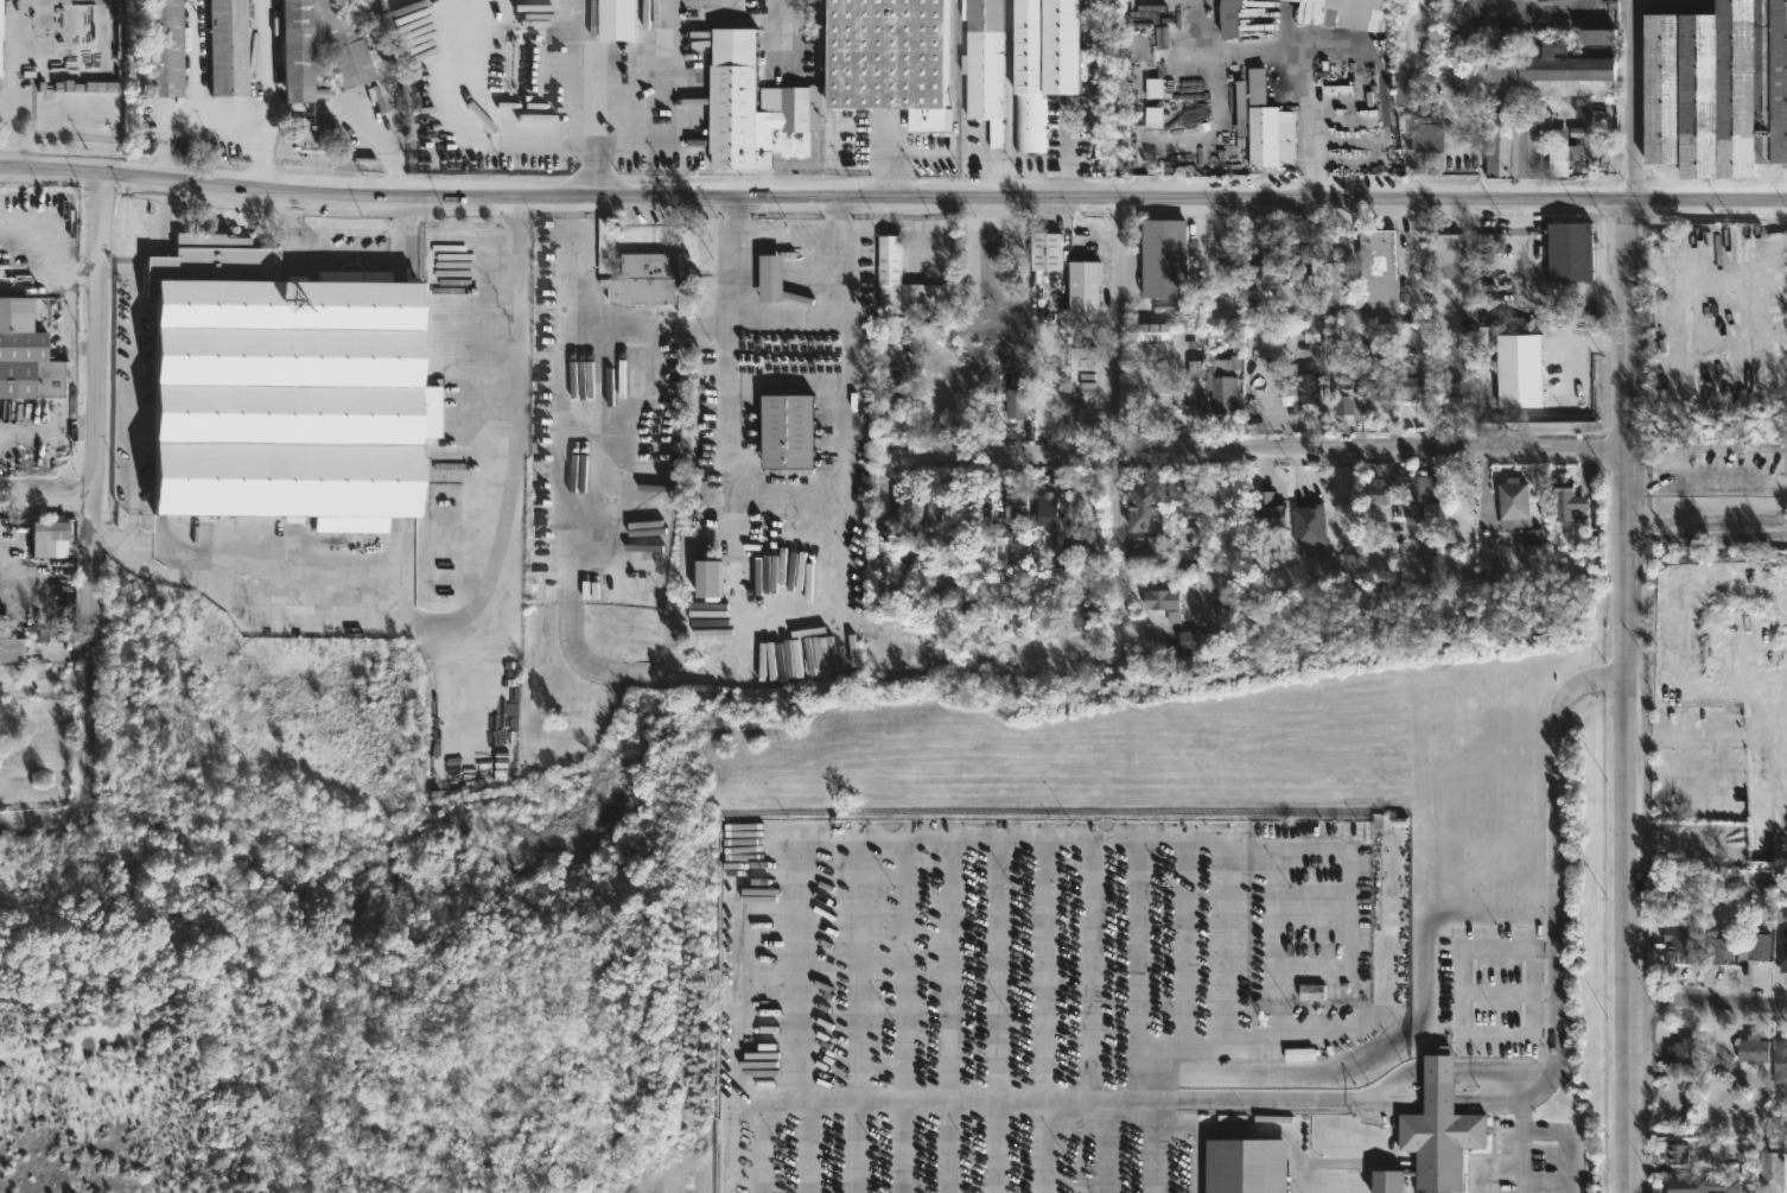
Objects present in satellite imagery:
road: (732, 7)
building: (1341, 13)
building: (1226, 18)
building: (2, 40)
building: (166, 47)
building: (233, 47)
building: (325, 47)
building: (885, 58)
road: (193, 61)
road: (268, 62)
building: (1038, 62)
building: (981, 63)
building: (1552, 66)
building: (529, 68)
road: (12, 84)
building: (1254, 85)
building: (1405, 85)
road: (597, 87)
building: (1716, 88)
building: (1147, 102)
building: (1201, 104)
building: (756, 107)
building: (1239, 107)
road: (361, 118)
road: (218, 122)
building: (310, 133)
building: (1426, 133)
building: (1268, 135)
road: (1071, 150)
building: (1512, 152)
building: (1608, 156)
building: (1556, 159)
road: (892, 196)
building: (608, 248)
building: (1042, 250)
building: (1569, 252)
building: (1446, 255)
building: (1160, 258)
building: (1304, 260)
building: (1264, 265)
building: (783, 277)
building: (650, 278)
building: (1365, 278)
building: (895, 281)
building: (1080, 286)
road: (845, 290)
road: (1530, 291)
railway: (412, 306)
building: (1150, 331)
road: (514, 340)
road: (729, 348)
building: (26, 351)
building: (1080, 358)
building: (1514, 372)
building: (1416, 386)
building: (1308, 387)
building: (1374, 387)
building: (1219, 388)
building: (287, 389)
building: (1182, 399)
building: (1344, 399)
building: (1454, 399)
building: (1013, 402)
building: (892, 411)
road: (1123, 427)
building: (788, 431)
road: (1336, 453)
road: (730, 480)
road: (1707, 484)
road: (97, 489)
building: (1376, 493)
building: (1560, 494)
building: (1418, 495)
road: (49, 501)
building: (1512, 503)
building: (1179, 505)
building: (1013, 506)
building: (1140, 507)
building: (896, 510)
building: (1266, 512)
building: (1044, 513)
building: (980, 518)
building: (934, 520)
building: (1306, 526)
building: (52, 538)
road: (1709, 540)
building: (1144, 548)
building: (716, 579)
road: (1630, 596)
building: (1162, 603)
building: (1197, 643)
building: (13, 649)
road: (604, 667)
road: (44, 813)
building: (1382, 823)
road: (1146, 839)
road: (1303, 900)
road: (1556, 914)
road: (1230, 933)
road: (1259, 943)
road: (1178, 944)
building: (1678, 945)
building: (1755, 948)
building: (1721, 951)
building: (1782, 956)
road: (1082, 969)
road: (1130, 969)
road: (1458, 988)
building: (1309, 994)
road: (1709, 1004)
road: (847, 1015)
road: (897, 1015)
road: (942, 1015)
road: (987, 1015)
road: (1036, 1015)
building: (1751, 1049)
building: (1680, 1053)
building: (1779, 1059)
road: (1451, 1070)
road: (1009, 1098)
road: (1443, 1100)
road: (1272, 1129)
building: (1443, 1136)
road: (1567, 1143)
road: (800, 1146)
road: (1092, 1146)
road: (1143, 1146)
road: (1187, 1146)
building: (1674, 1151)
building: (1244, 1165)
road: (1488, 1166)
building: (1770, 1172)
building: (1702, 1184)

